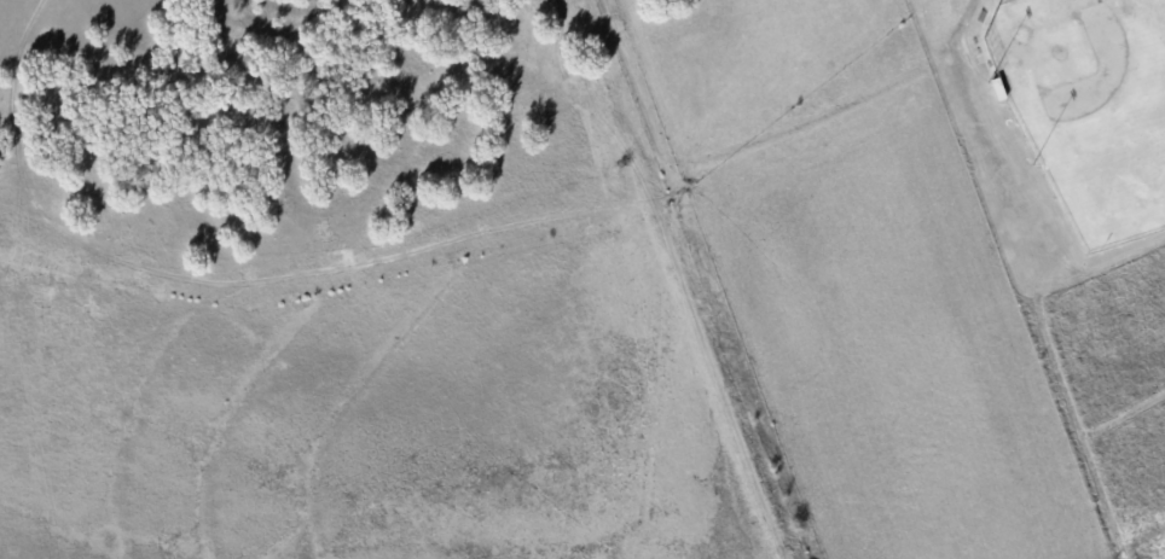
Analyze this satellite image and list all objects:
building: (999, 87)

